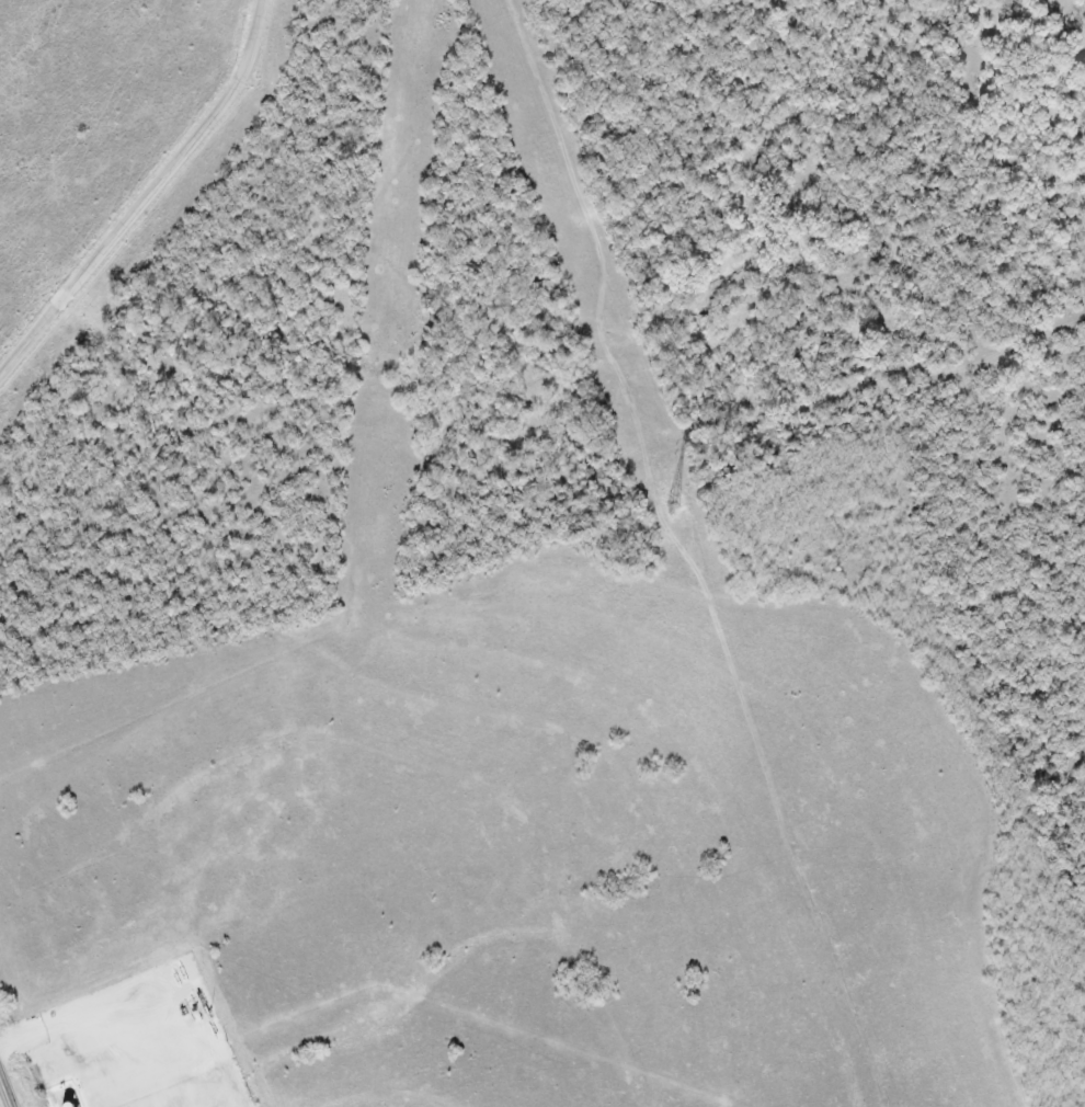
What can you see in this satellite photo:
road: (149, 198)
power tower: (671, 509)
road: (9, 1082)

